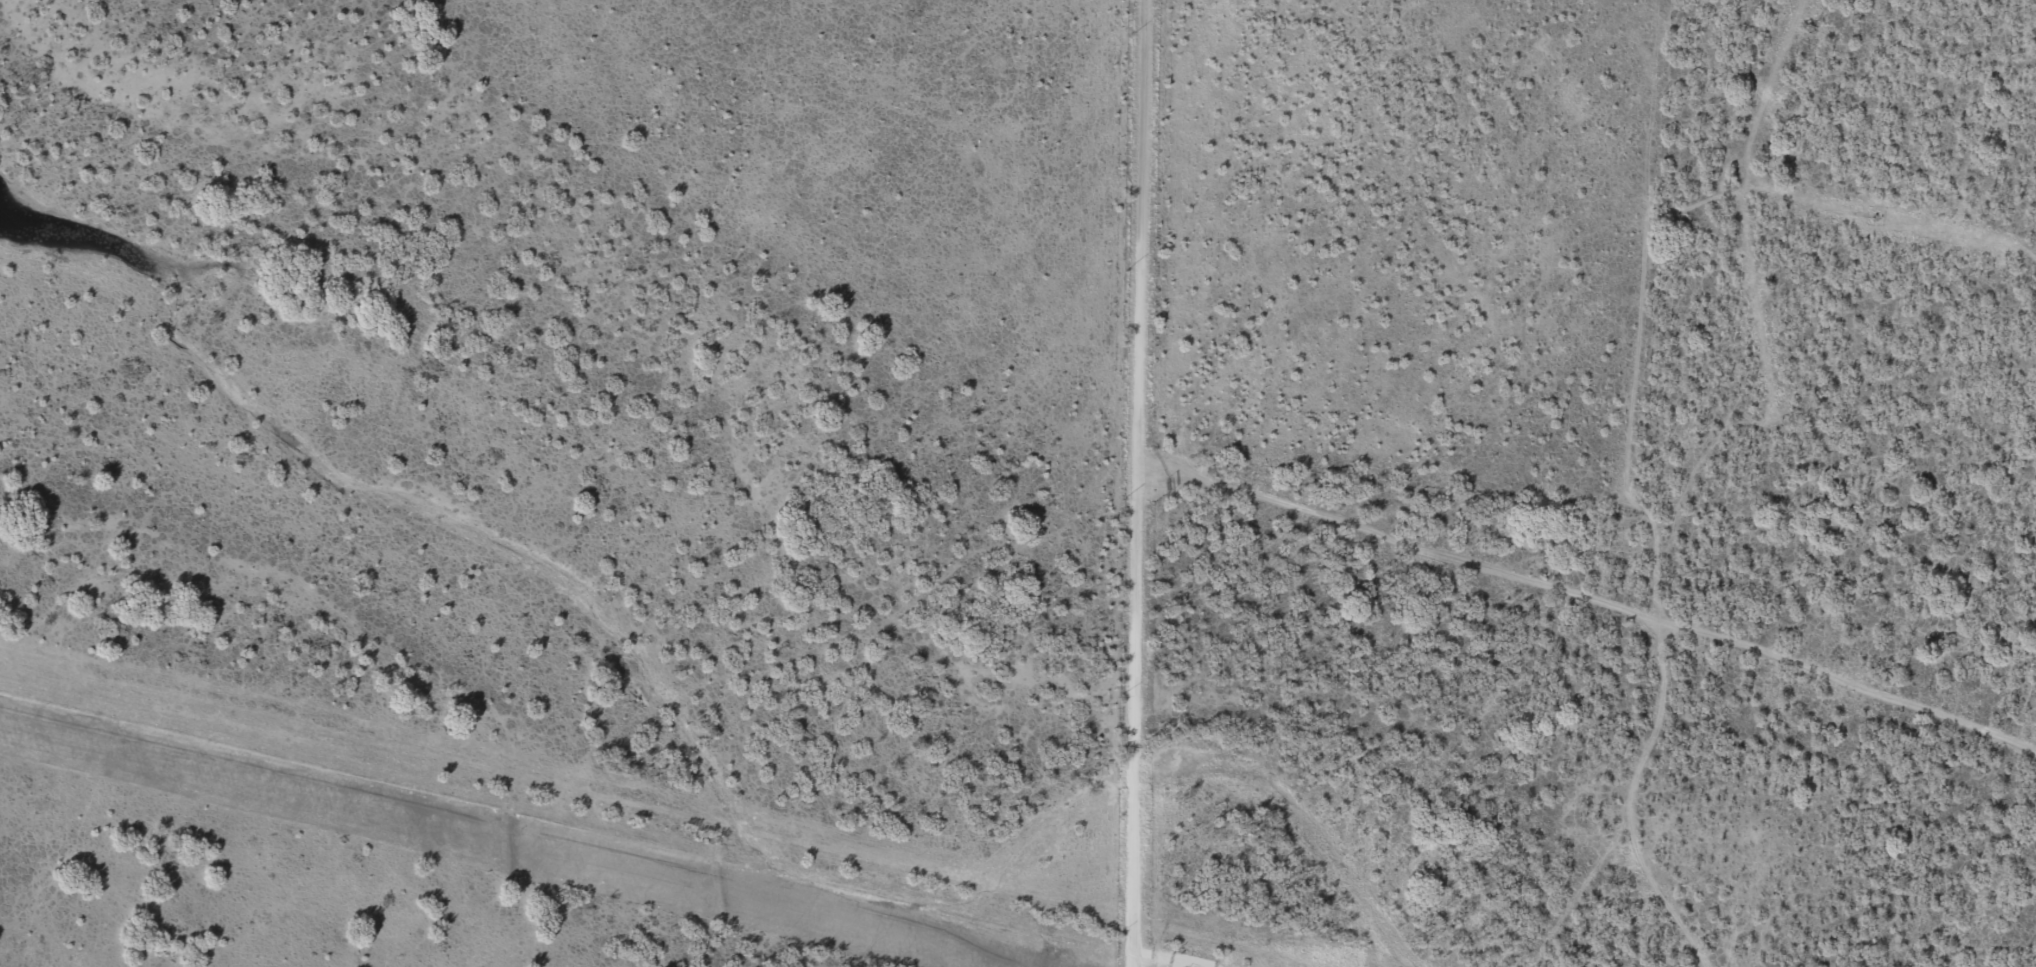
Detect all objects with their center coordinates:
road: (1137, 483)

